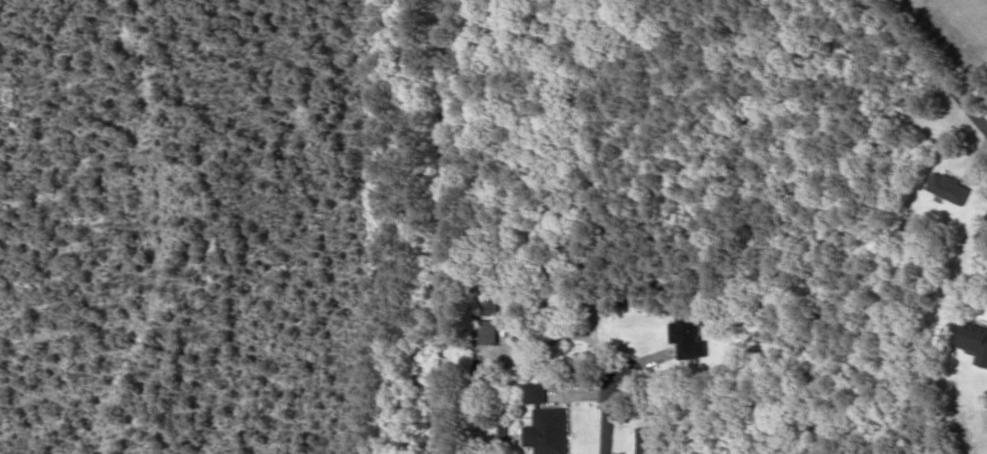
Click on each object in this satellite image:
road: (929, 63)
building: (949, 187)
building: (489, 306)
building: (689, 337)
building: (976, 339)
road: (611, 415)
building: (546, 422)
building: (647, 439)

